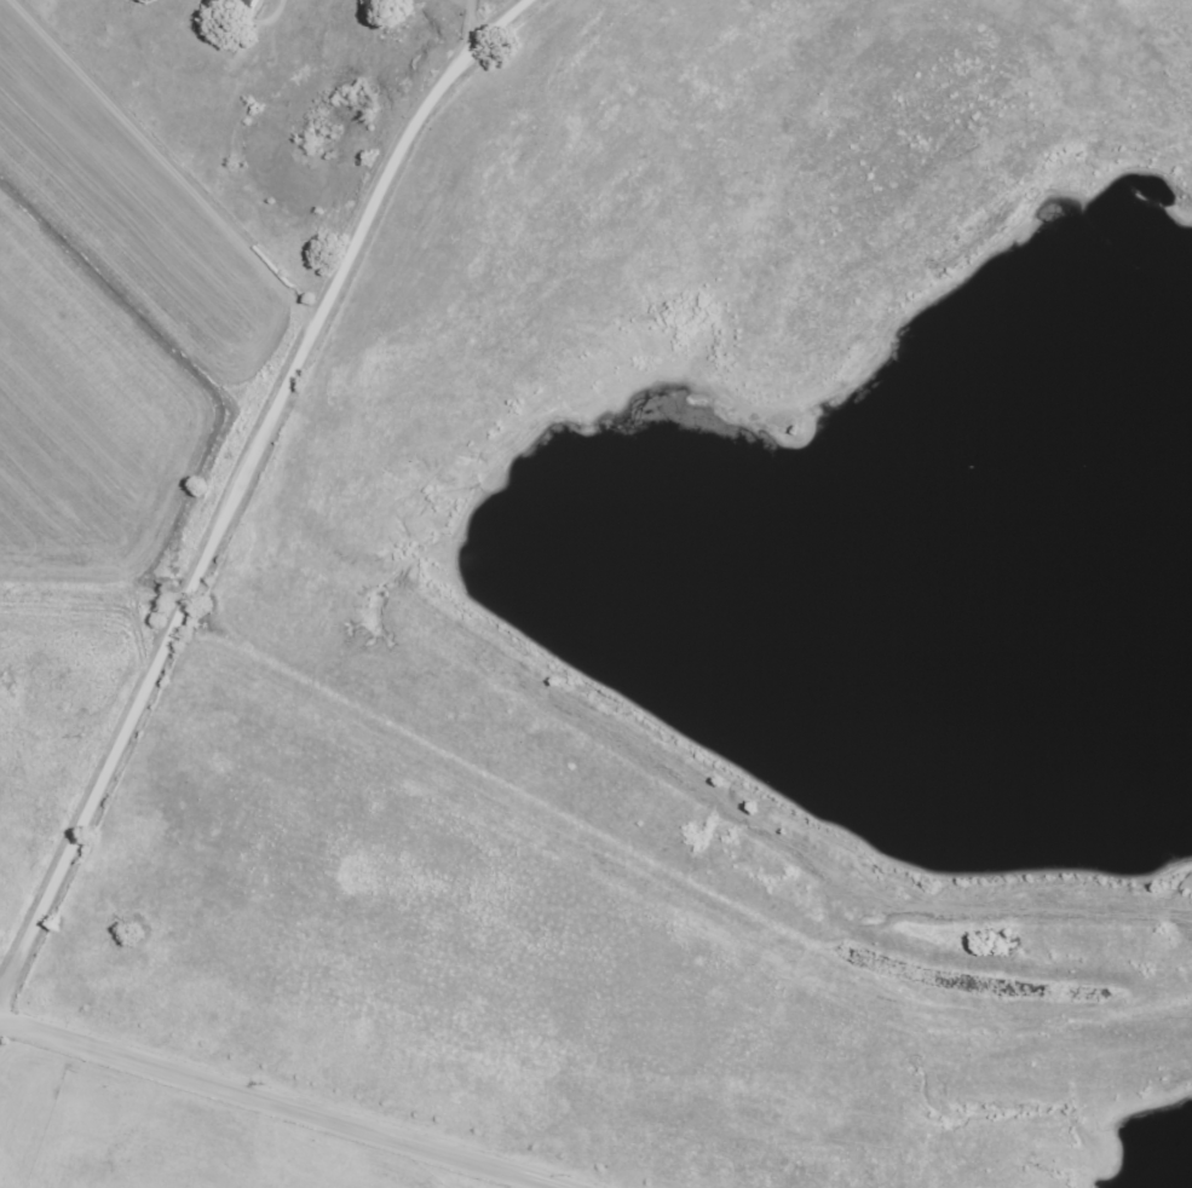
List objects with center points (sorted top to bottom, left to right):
building: (248, 1)
building: (217, 2)
road: (237, 491)
road: (288, 1098)

